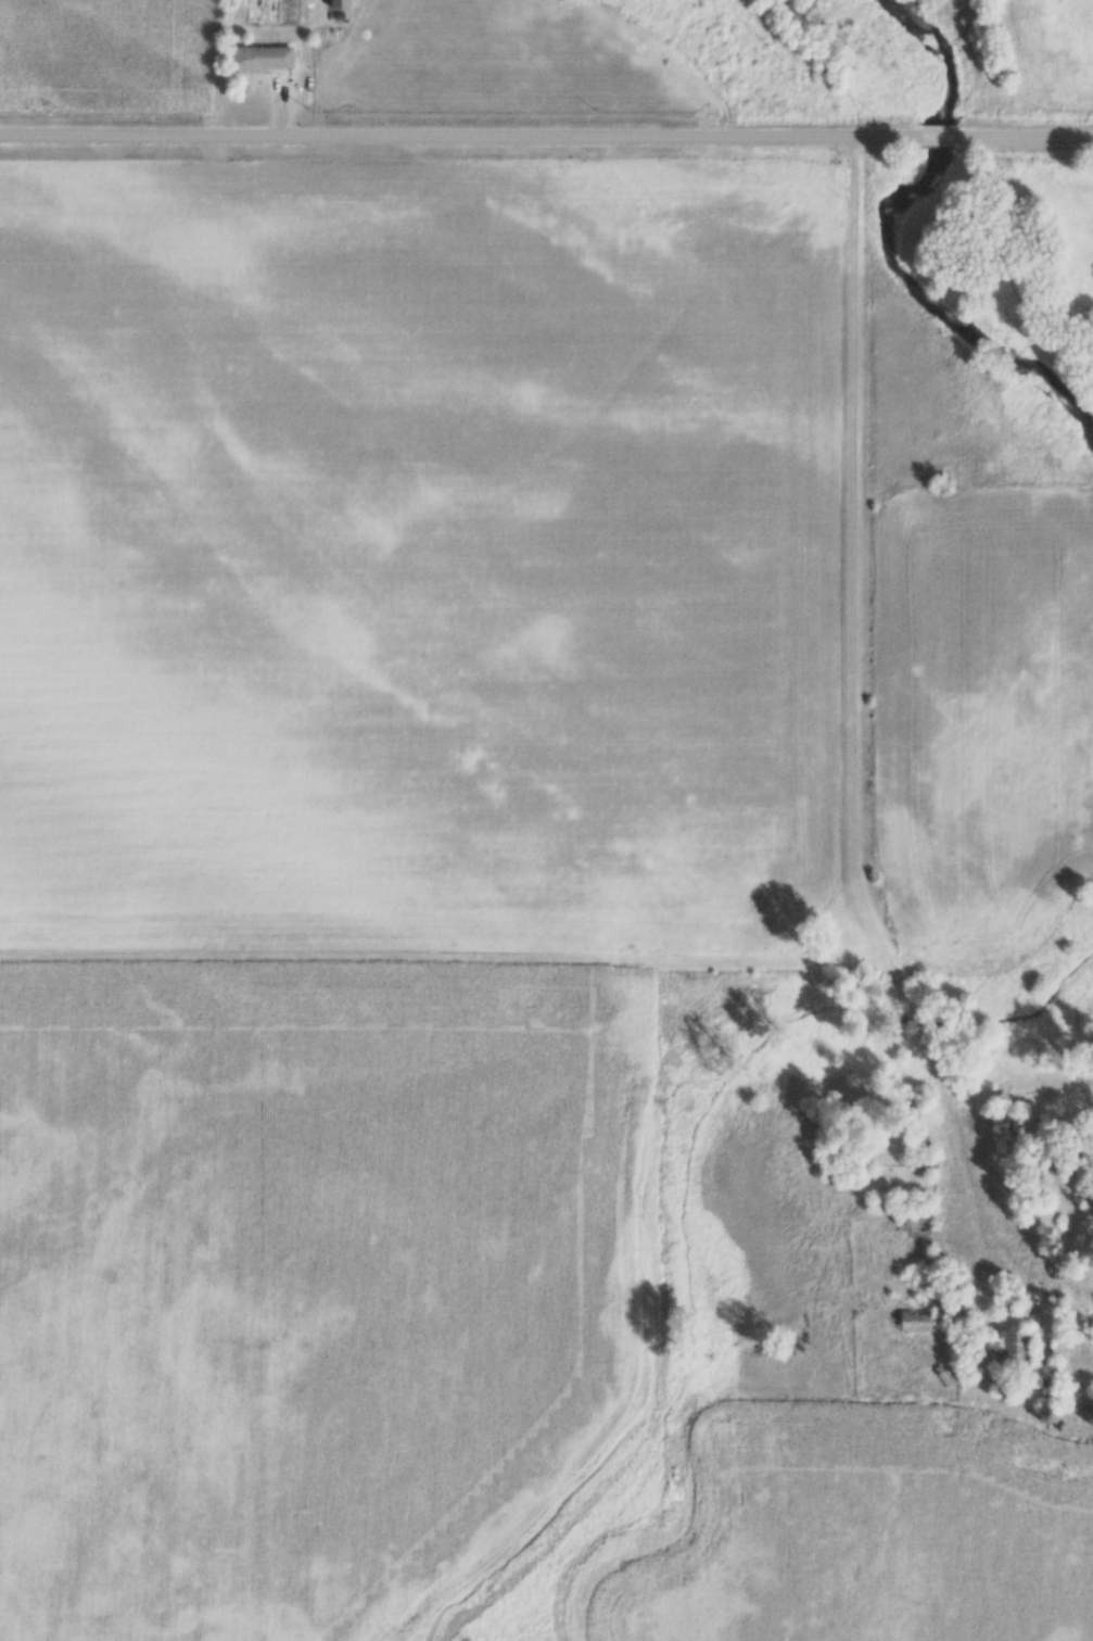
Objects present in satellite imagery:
building: (342, 4)
building: (262, 59)
road: (938, 138)
road: (1025, 138)
road: (459, 139)
road: (851, 753)
building: (1003, 1124)
building: (1088, 1202)
building: (919, 1322)
building: (1018, 1354)
building: (1009, 1390)
building: (1048, 1414)
building: (1090, 1417)

